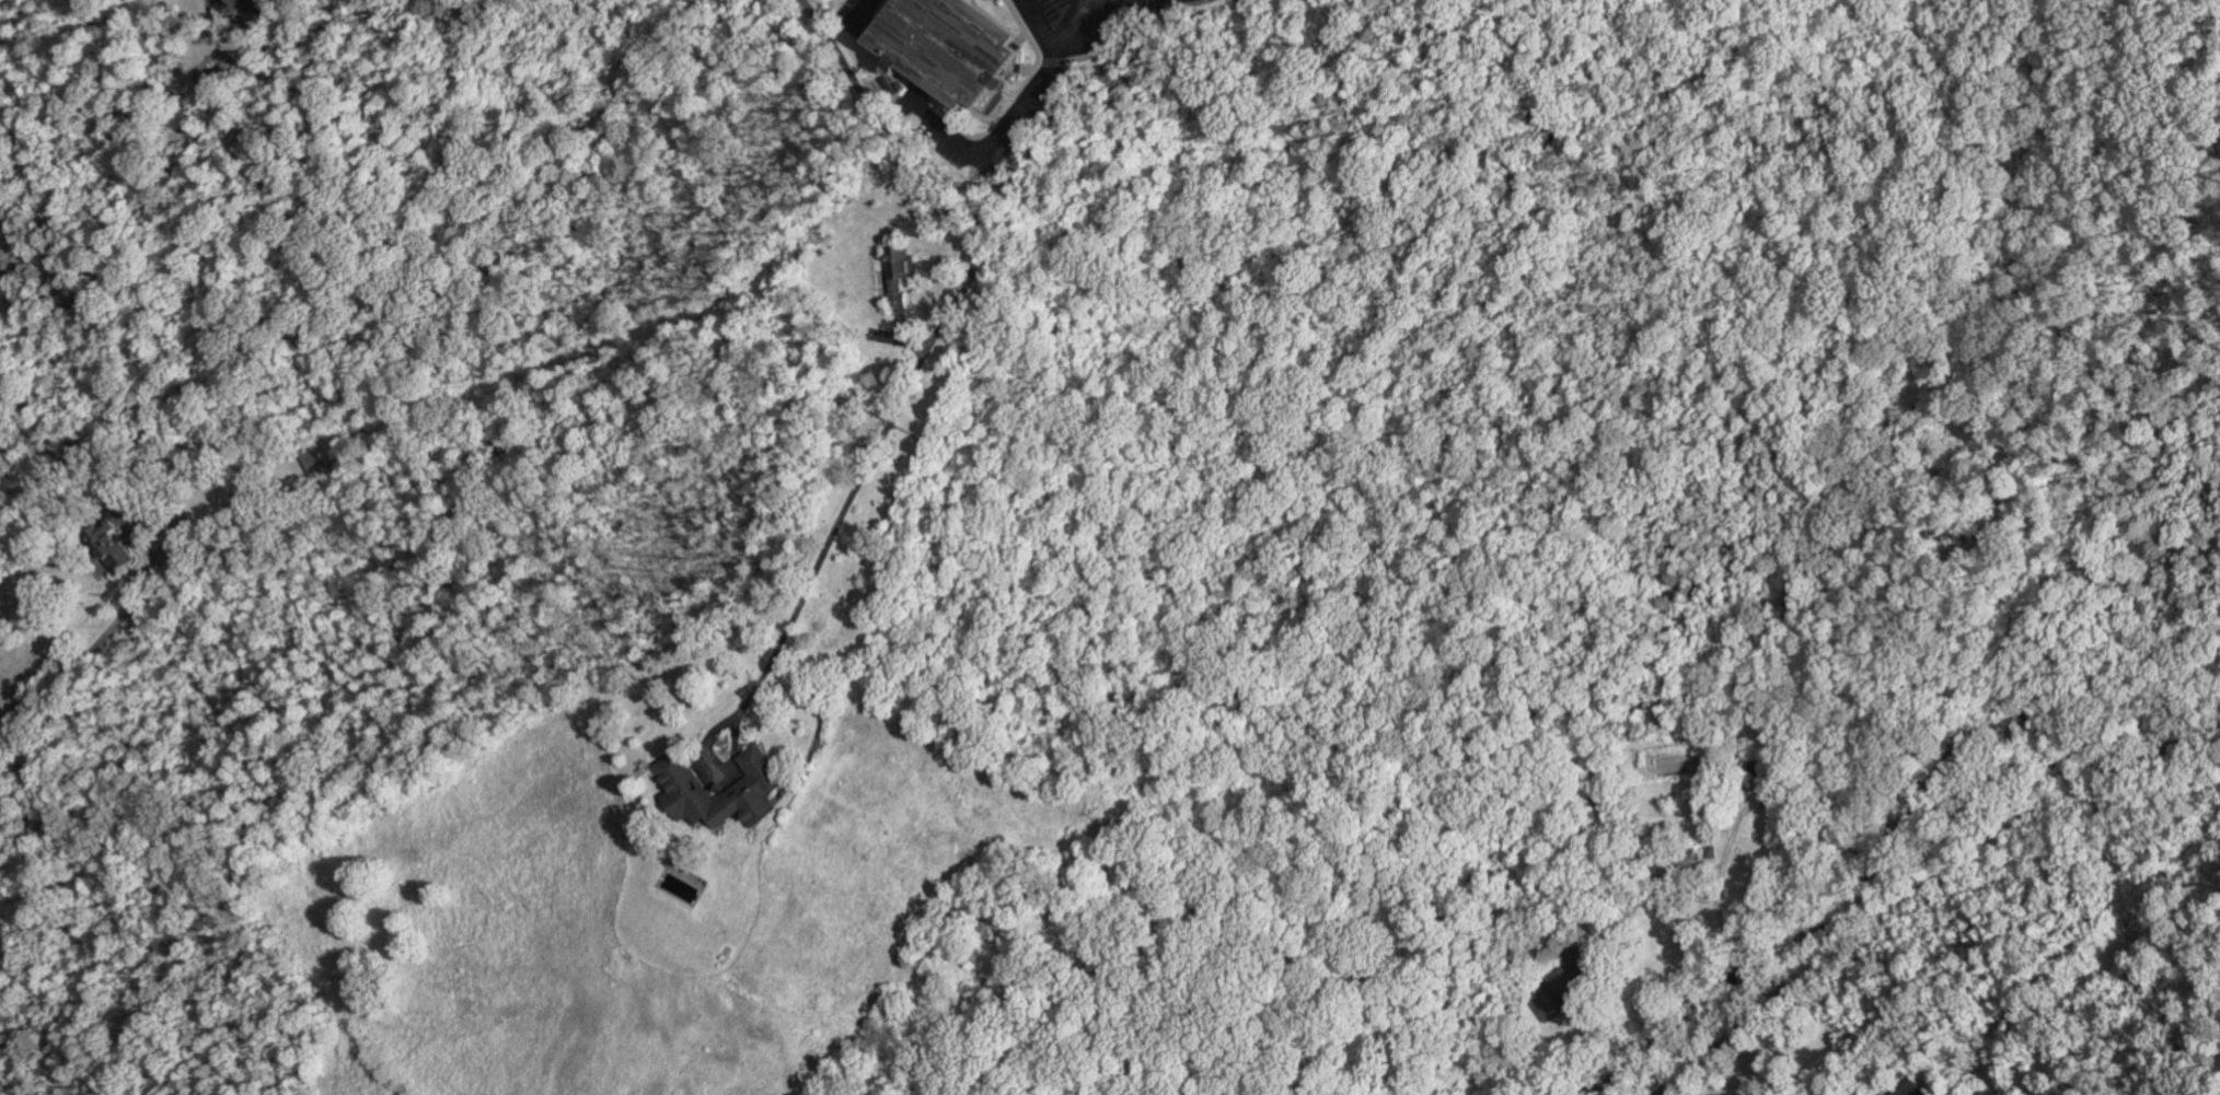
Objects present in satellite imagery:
flagpole: (1005, 3)
building: (236, 4)
road: (1097, 5)
park: (464, 20)
building: (949, 39)
road: (1056, 45)
road: (947, 131)
road: (974, 201)
building: (899, 272)
road: (953, 307)
building: (317, 464)
road: (149, 516)
building: (111, 541)
road: (88, 656)
road: (764, 674)
building: (755, 787)
road: (1718, 906)
road: (1922, 922)
building: (1576, 960)
building: (1554, 994)
road: (1588, 1036)
building: (1906, 1087)

